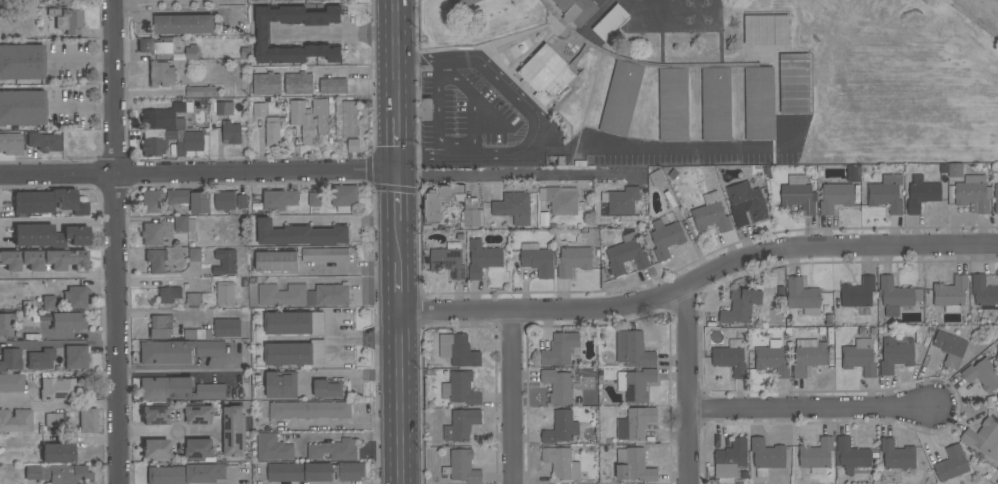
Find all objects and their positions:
road: (169, 0)
building: (259, 0)
building: (287, 0)
building: (318, 0)
building: (71, 2)
building: (467, 2)
building: (576, 10)
road: (181, 12)
building: (67, 20)
building: (183, 24)
road: (384, 30)
building: (766, 30)
road: (328, 33)
building: (263, 35)
building: (155, 45)
building: (191, 52)
road: (81, 59)
road: (395, 60)
building: (21, 62)
building: (160, 74)
building: (546, 74)
building: (266, 84)
building: (298, 84)
building: (793, 84)
building: (332, 86)
road: (406, 88)
building: (200, 92)
building: (621, 98)
building: (759, 103)
building: (672, 104)
building: (716, 104)
road: (82, 106)
building: (21, 107)
building: (221, 109)
building: (259, 110)
building: (165, 116)
road: (385, 116)
road: (538, 116)
building: (309, 118)
building: (345, 119)
building: (231, 133)
building: (272, 133)
building: (42, 141)
building: (156, 141)
building: (188, 142)
building: (10, 144)
building: (353, 145)
road: (663, 147)
building: (955, 170)
building: (852, 173)
road: (193, 174)
road: (397, 174)
road: (526, 176)
building: (886, 193)
building: (798, 194)
building: (921, 194)
building: (973, 194)
road: (407, 196)
building: (343, 197)
building: (835, 197)
building: (189, 199)
building: (996, 199)
building: (224, 200)
building: (278, 200)
building: (314, 200)
building: (559, 200)
building: (47, 201)
building: (151, 201)
building: (440, 201)
building: (621, 201)
building: (746, 203)
building: (513, 208)
building: (471, 214)
building: (711, 214)
road: (387, 217)
road: (397, 219)
road: (332, 220)
road: (57, 222)
building: (183, 224)
building: (151, 234)
building: (299, 234)
building: (49, 235)
building: (665, 238)
road: (115, 242)
building: (325, 255)
building: (626, 255)
building: (482, 258)
building: (43, 260)
building: (276, 260)
building: (448, 260)
building: (537, 260)
building: (155, 261)
building: (572, 261)
building: (225, 262)
road: (61, 276)
road: (335, 280)
road: (694, 286)
road: (387, 287)
building: (857, 293)
building: (984, 293)
building: (168, 294)
building: (225, 294)
building: (950, 294)
building: (303, 295)
road: (397, 296)
building: (896, 296)
building: (75, 297)
building: (802, 297)
building: (192, 299)
building: (48, 302)
building: (741, 305)
road: (158, 313)
building: (68, 322)
building: (293, 323)
building: (6, 324)
building: (161, 327)
building: (226, 328)
building: (197, 334)
road: (70, 336)
road: (370, 340)
building: (950, 348)
road: (409, 349)
building: (560, 349)
building: (458, 350)
building: (633, 350)
building: (177, 351)
building: (294, 354)
building: (896, 354)
building: (808, 356)
building: (75, 357)
building: (860, 357)
building: (730, 358)
building: (772, 358)
building: (10, 359)
building: (40, 359)
road: (172, 371)
road: (353, 374)
building: (982, 374)
building: (10, 383)
building: (281, 385)
building: (635, 385)
building: (558, 386)
road: (690, 386)
building: (460, 388)
building: (56, 389)
building: (178, 389)
building: (327, 389)
road: (389, 397)
road: (512, 397)
road: (58, 405)
road: (813, 409)
building: (309, 410)
building: (154, 415)
building: (199, 415)
building: (54, 420)
building: (87, 420)
building: (15, 421)
building: (636, 423)
road: (337, 425)
building: (461, 425)
building: (561, 428)
building: (234, 431)
road: (143, 432)
building: (983, 438)
building: (273, 448)
building: (154, 450)
building: (199, 450)
building: (333, 450)
building: (57, 453)
building: (851, 455)
building: (766, 456)
building: (816, 456)
building: (896, 459)
building: (730, 460)
building: (561, 464)
building: (951, 464)
building: (633, 466)
building: (463, 467)
building: (351, 471)
building: (300, 472)
building: (58, 474)
building: (185, 474)

